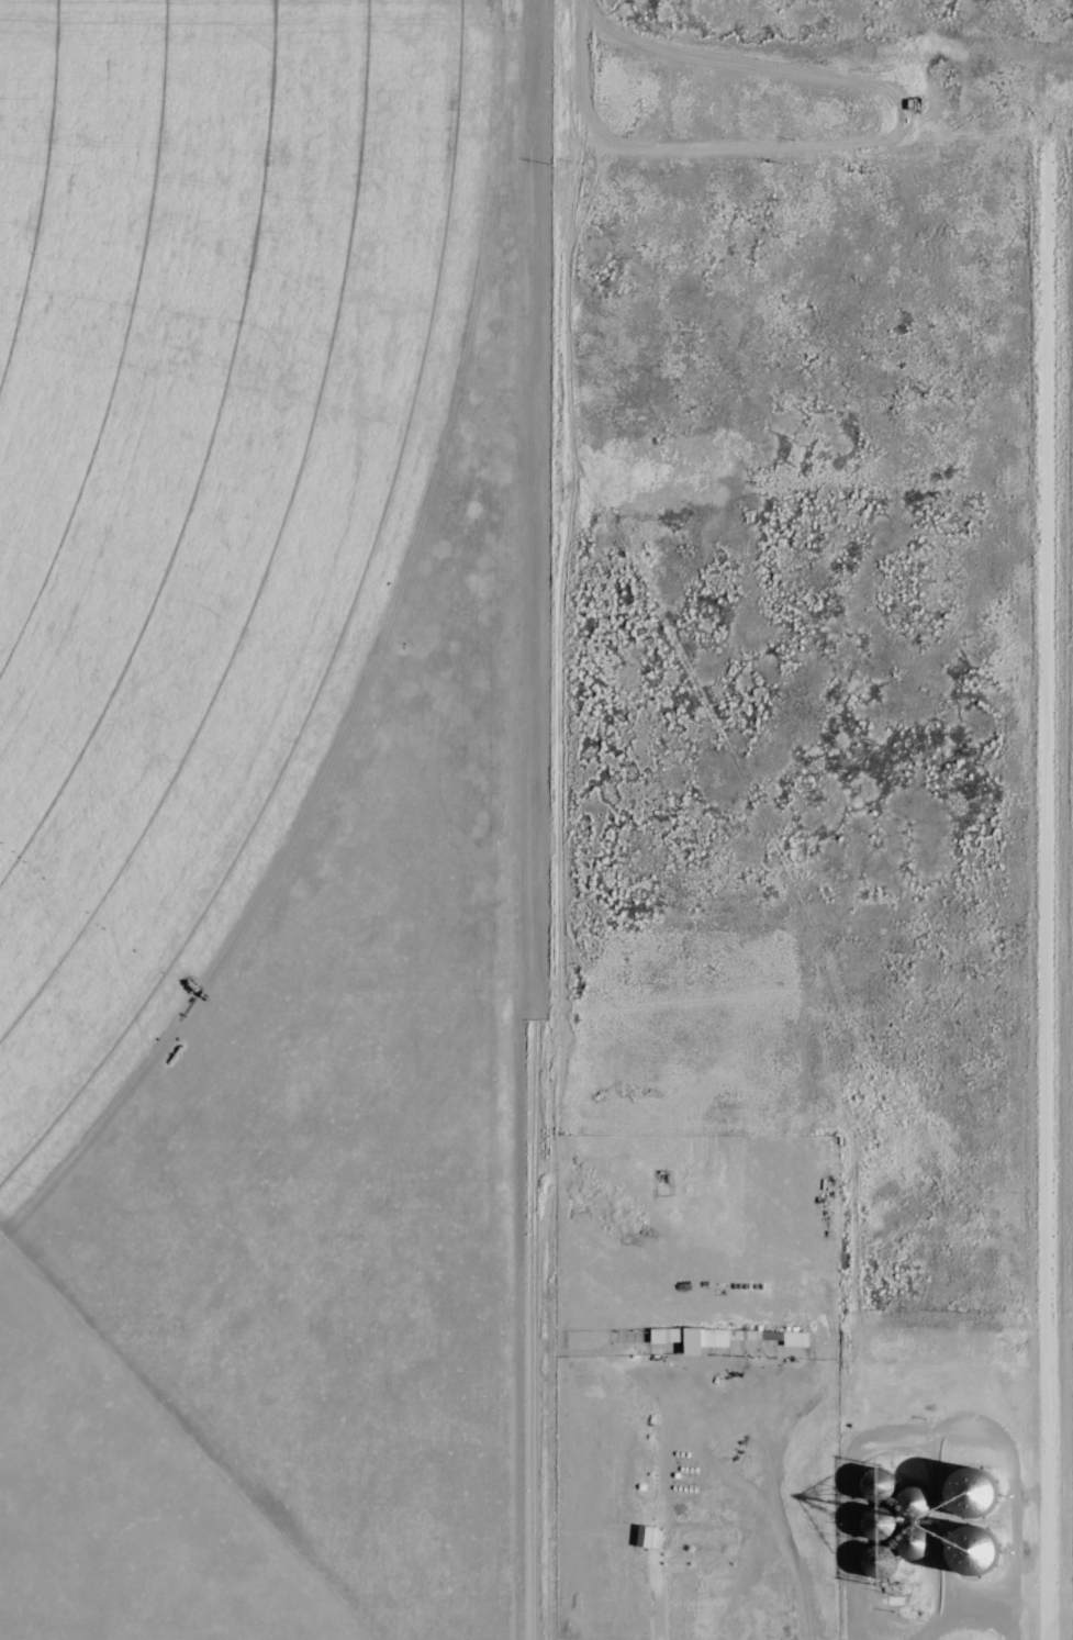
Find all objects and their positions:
building: (693, 1337)
building: (876, 1485)
building: (966, 1494)
building: (913, 1503)
building: (878, 1524)
building: (645, 1536)
building: (905, 1550)
building: (970, 1551)

